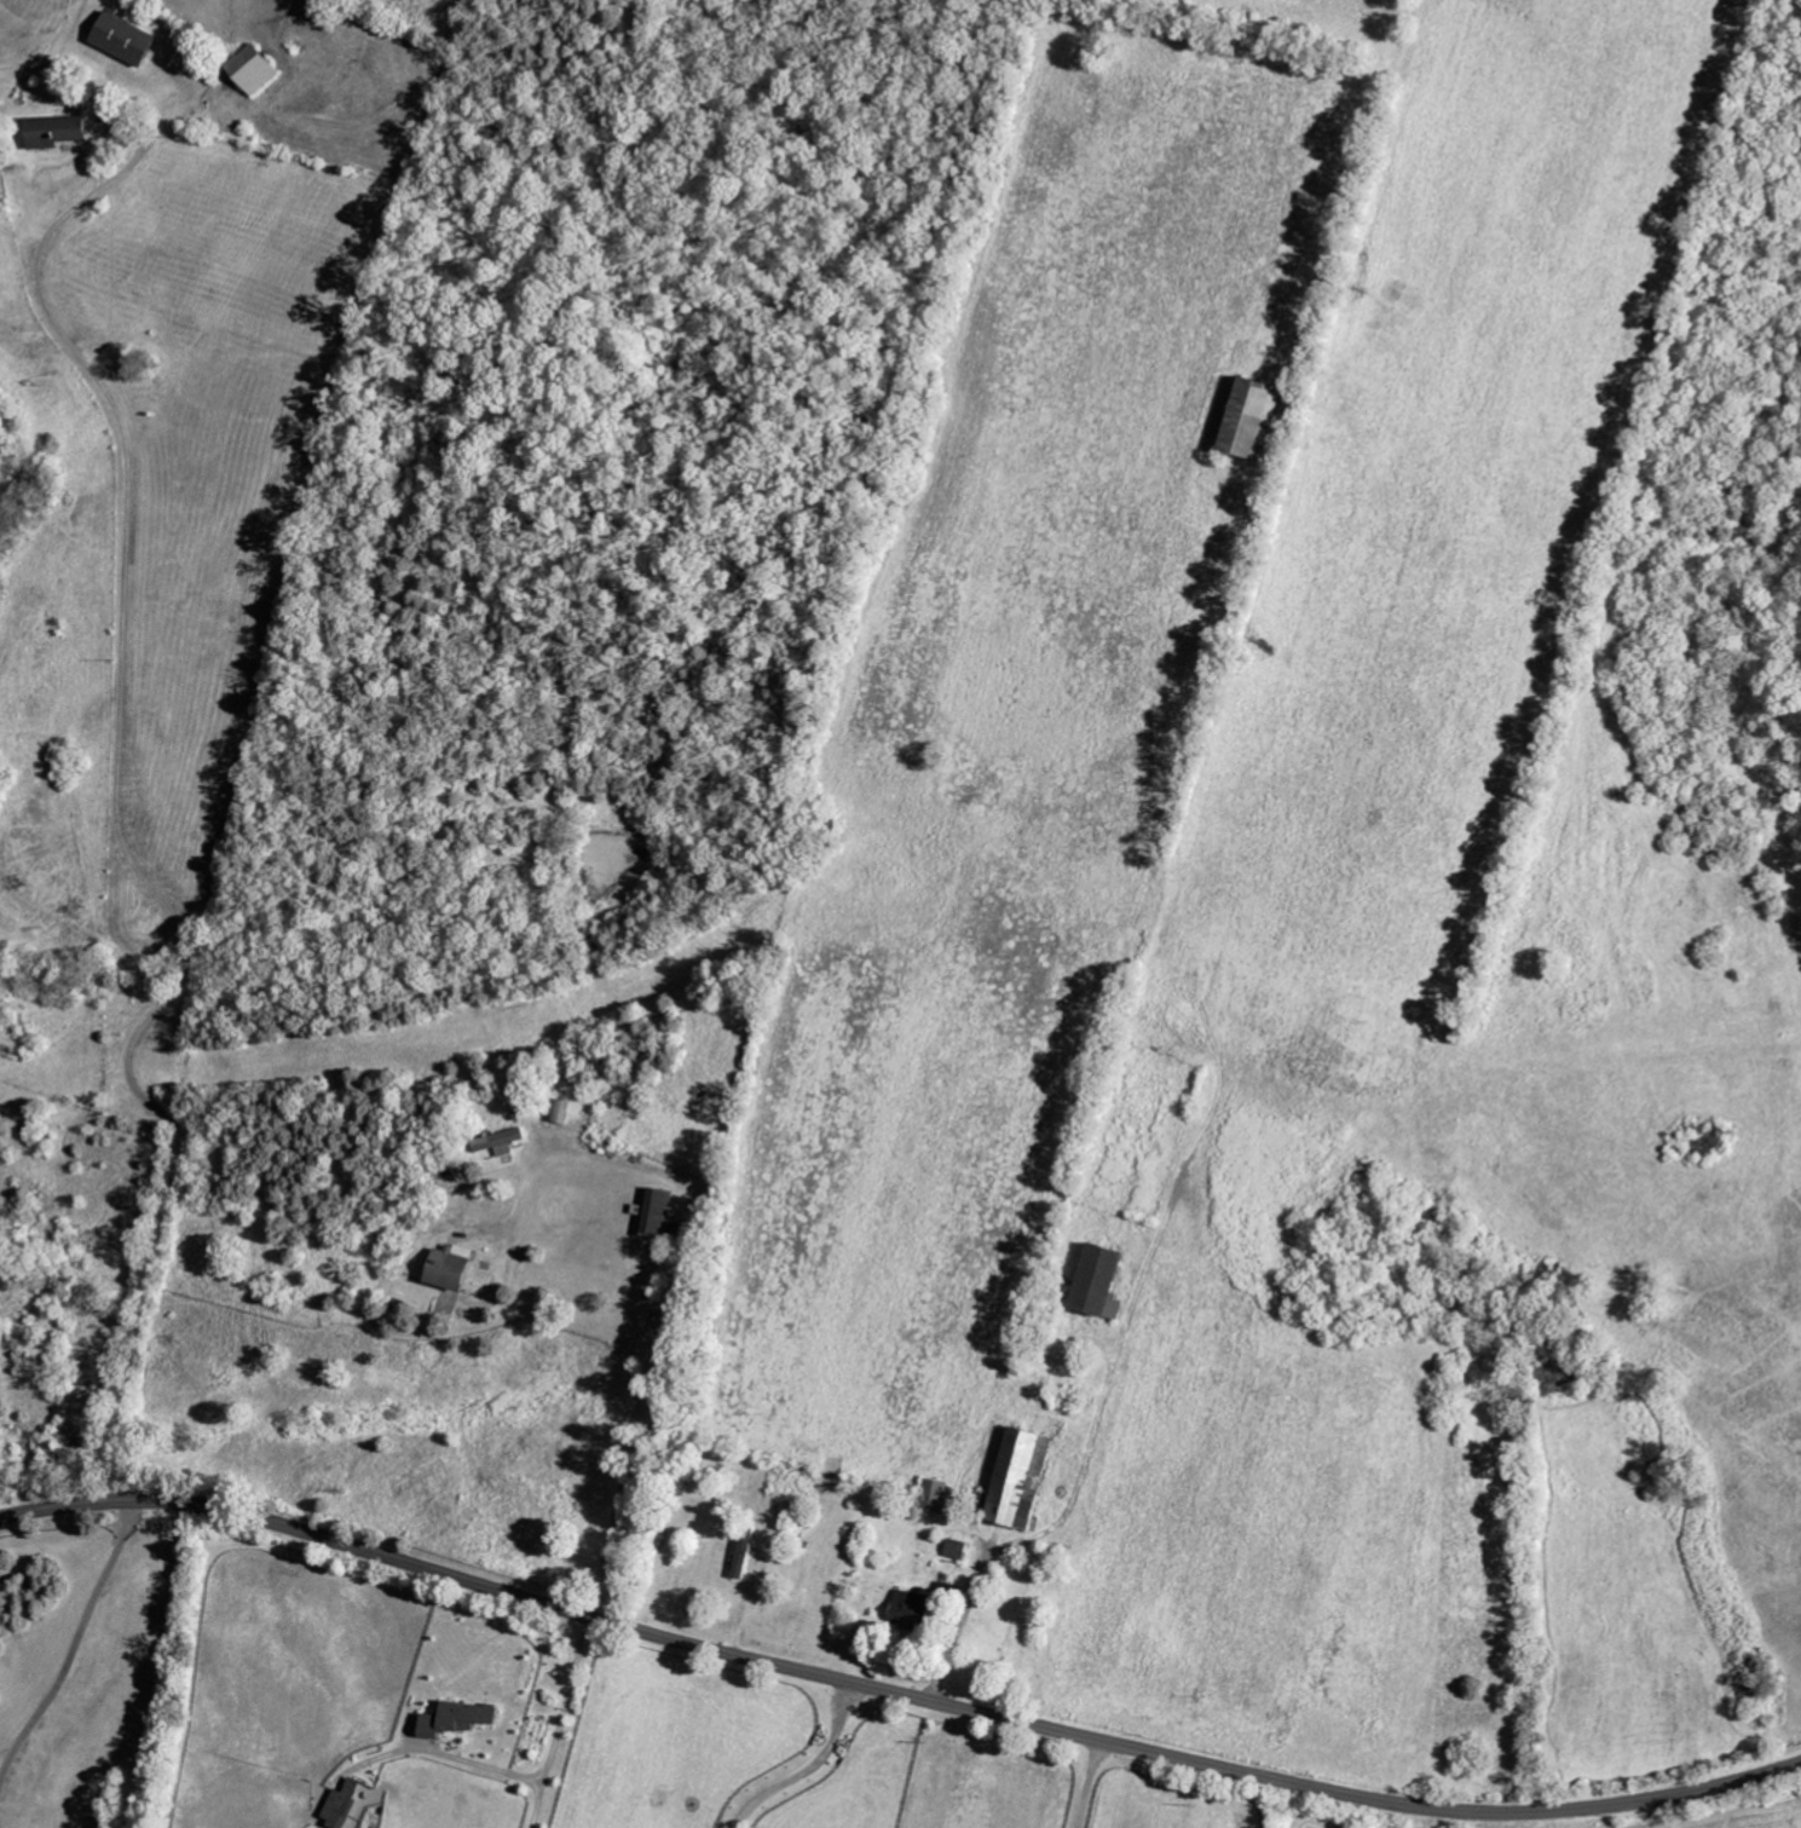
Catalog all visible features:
building: (128, 40)
building: (256, 70)
building: (58, 132)
building: (1258, 420)
road: (115, 792)
building: (503, 1144)
building: (664, 1217)
building: (455, 1269)
building: (1106, 1285)
road: (679, 1297)
building: (1026, 1478)
building: (937, 1497)
road: (1033, 1534)
building: (960, 1550)
building: (745, 1555)
building: (917, 1611)
road: (75, 1650)
road: (895, 1697)
building: (461, 1719)
road: (560, 1724)
road: (445, 1755)
road: (808, 1770)
road: (1089, 1783)
building: (347, 1807)

